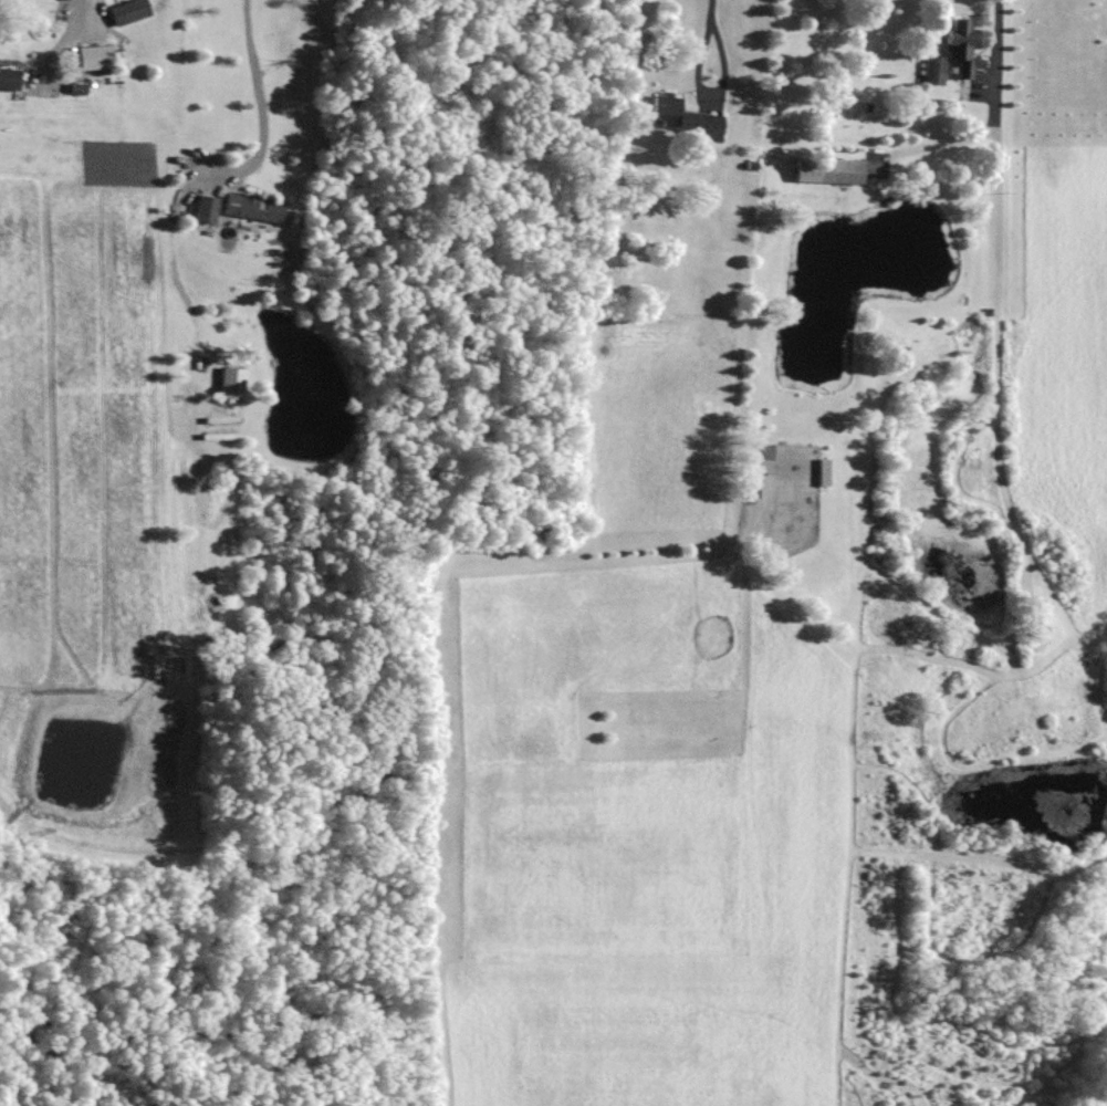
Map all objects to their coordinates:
building: (128, 10)
road: (710, 12)
road: (62, 43)
road: (996, 44)
building: (953, 52)
building: (94, 54)
building: (9, 76)
road: (709, 95)
road: (259, 105)
building: (683, 117)
building: (828, 168)
building: (253, 206)

